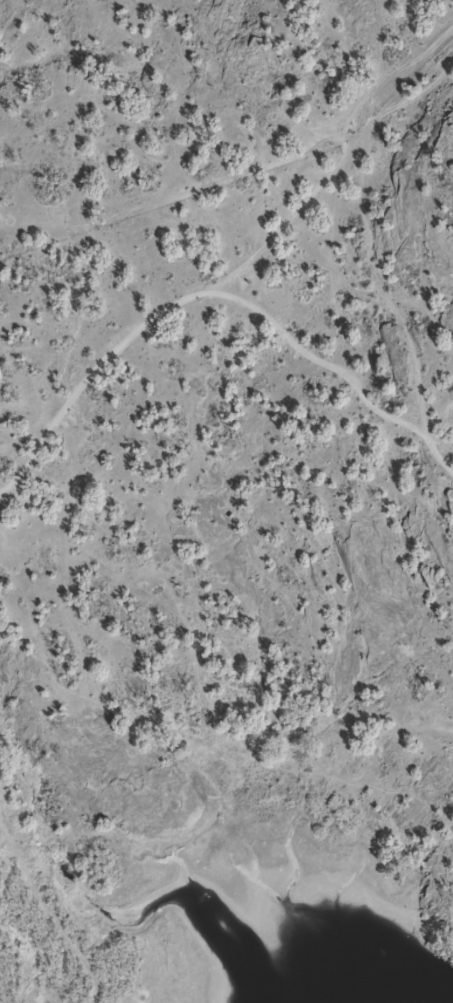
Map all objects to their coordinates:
road: (408, 284)
road: (330, 294)
road: (101, 363)

